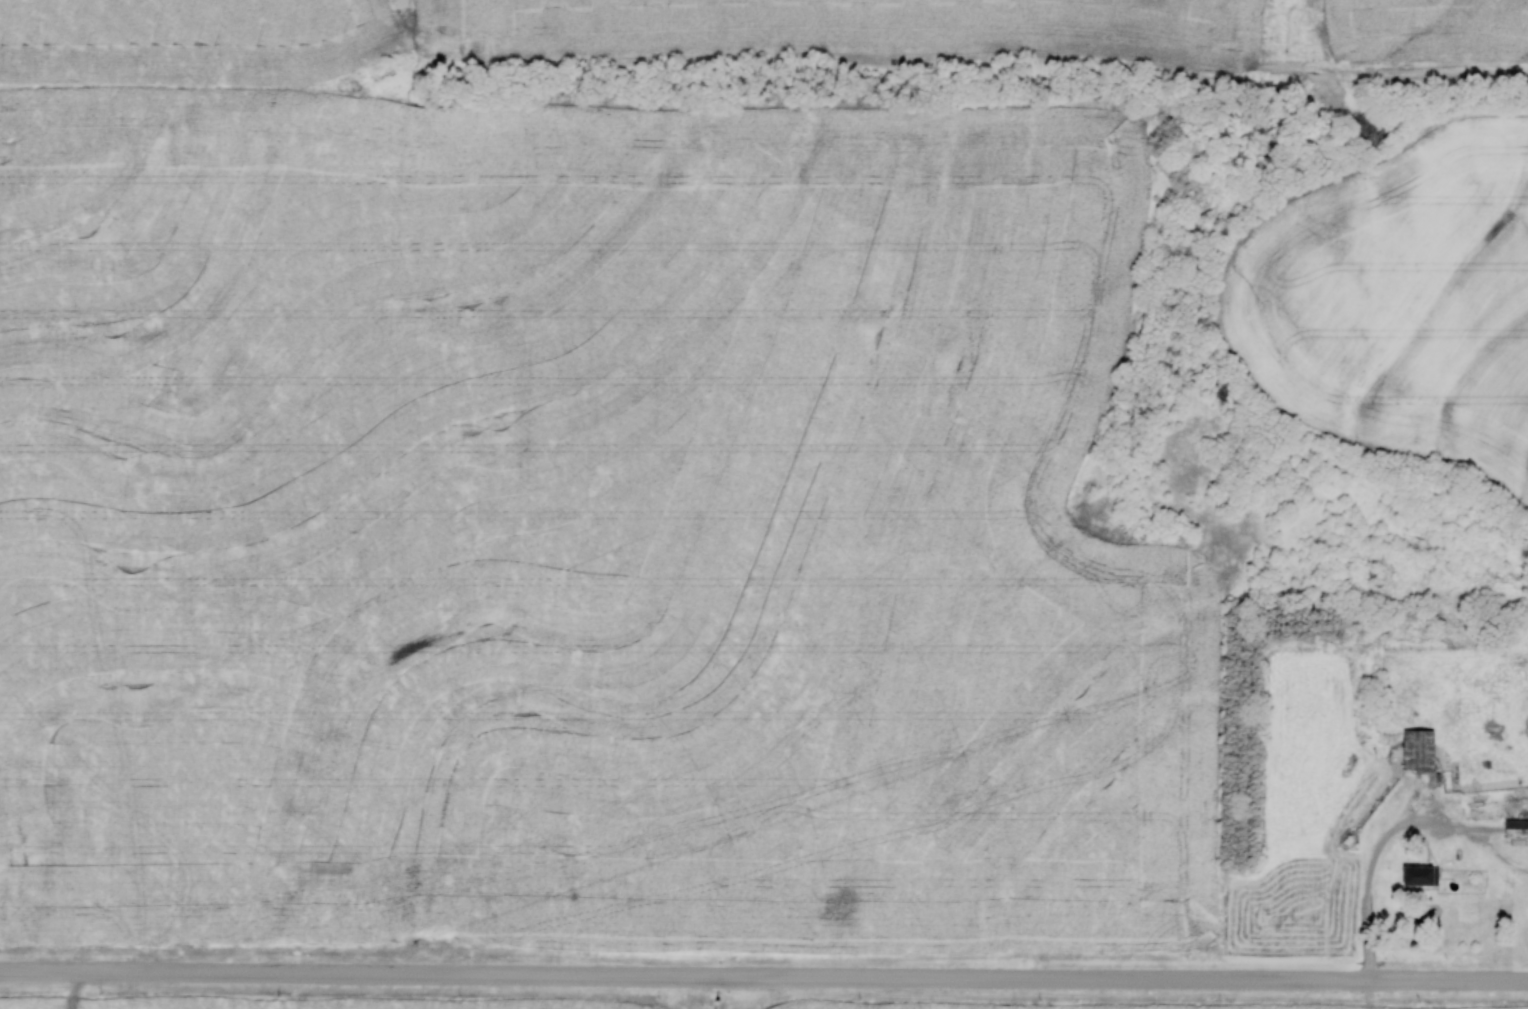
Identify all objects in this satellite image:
building: (1417, 749)
road: (1471, 797)
building: (1515, 827)
road: (1390, 837)
building: (1418, 874)
road: (764, 981)

